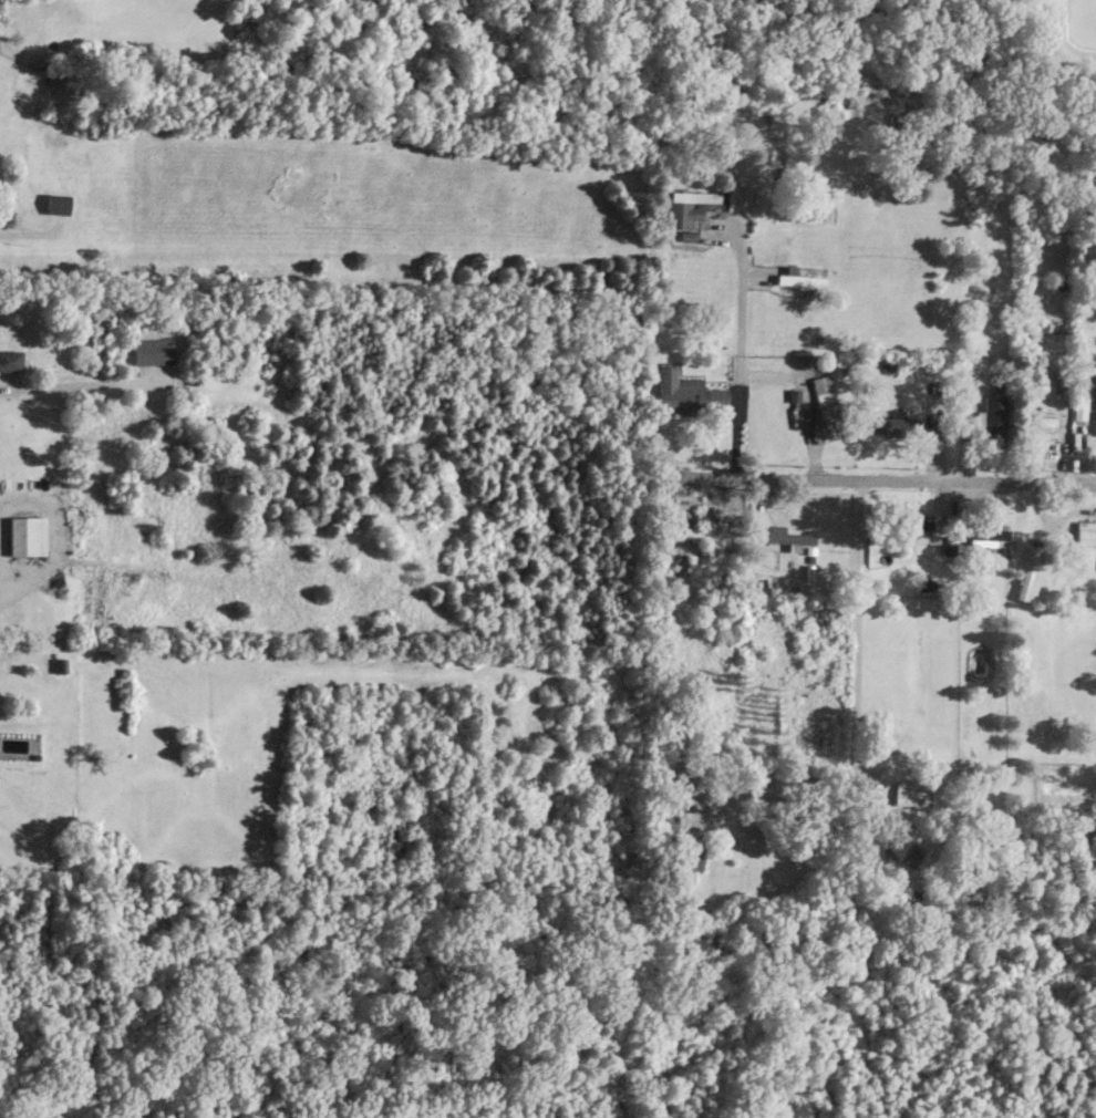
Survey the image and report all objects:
building: (823, 111)
building: (58, 203)
building: (692, 207)
building: (800, 278)
road: (740, 352)
building: (11, 360)
road: (9, 389)
building: (689, 391)
building: (826, 410)
building: (995, 418)
building: (1038, 423)
road: (877, 480)
road: (34, 501)
building: (909, 526)
building: (1087, 529)
building: (28, 534)
building: (707, 534)
building: (989, 534)
building: (792, 536)
building: (664, 547)
building: (1031, 572)
road: (6, 598)
road: (857, 633)
road: (775, 779)
building: (911, 795)
building: (687, 858)

